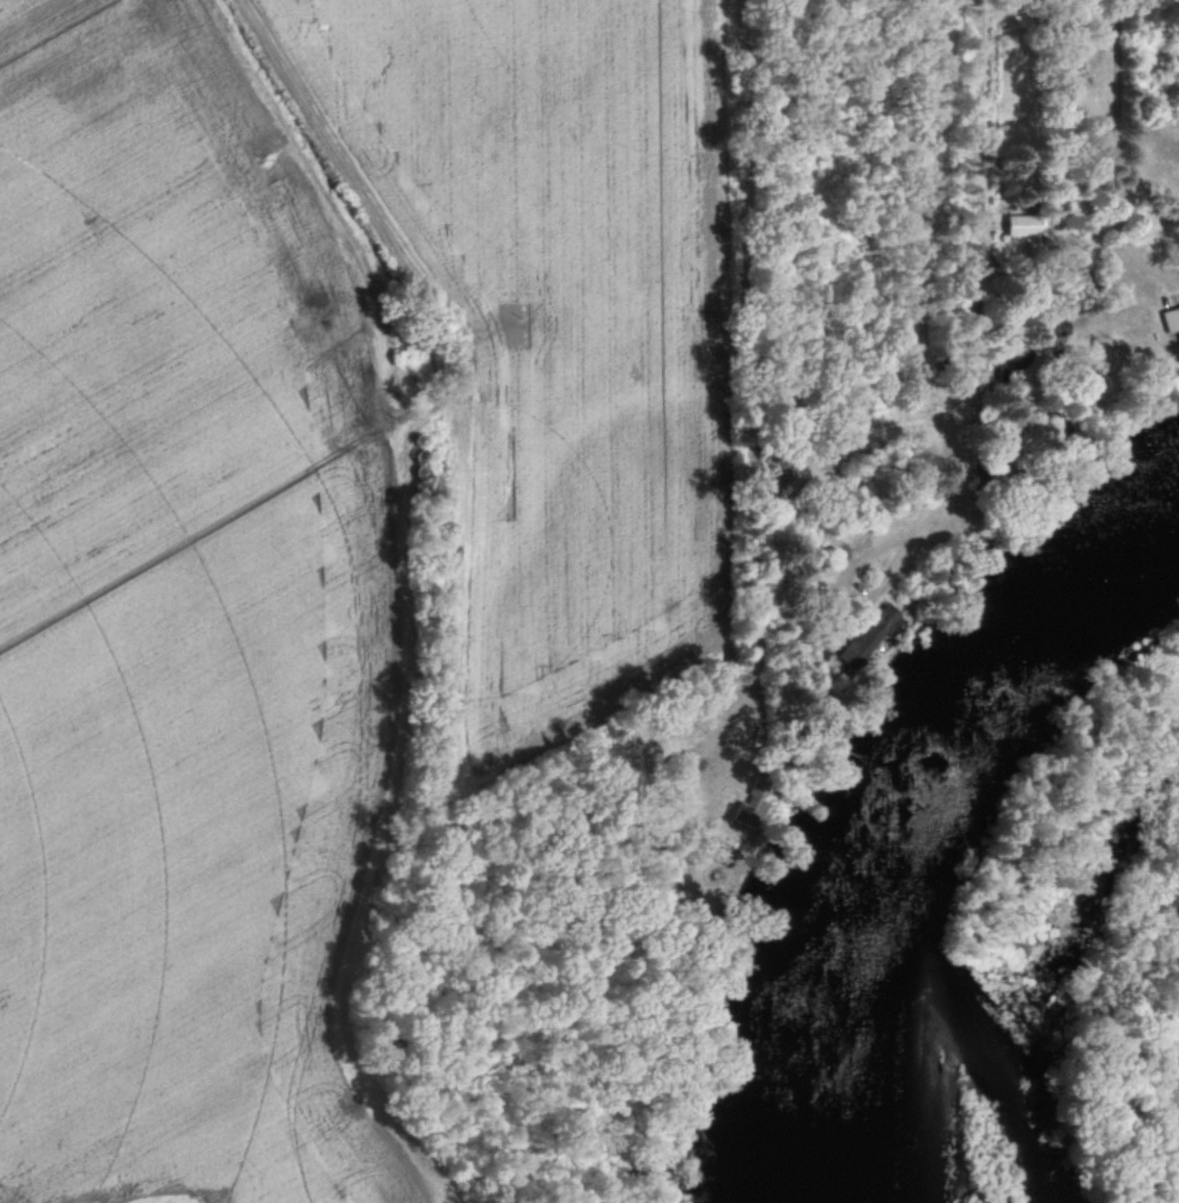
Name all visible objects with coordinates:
road: (1114, 154)
building: (1025, 226)
road: (974, 257)
road: (741, 316)
building: (1171, 322)
building: (1057, 333)
building: (868, 638)
river: (923, 814)

